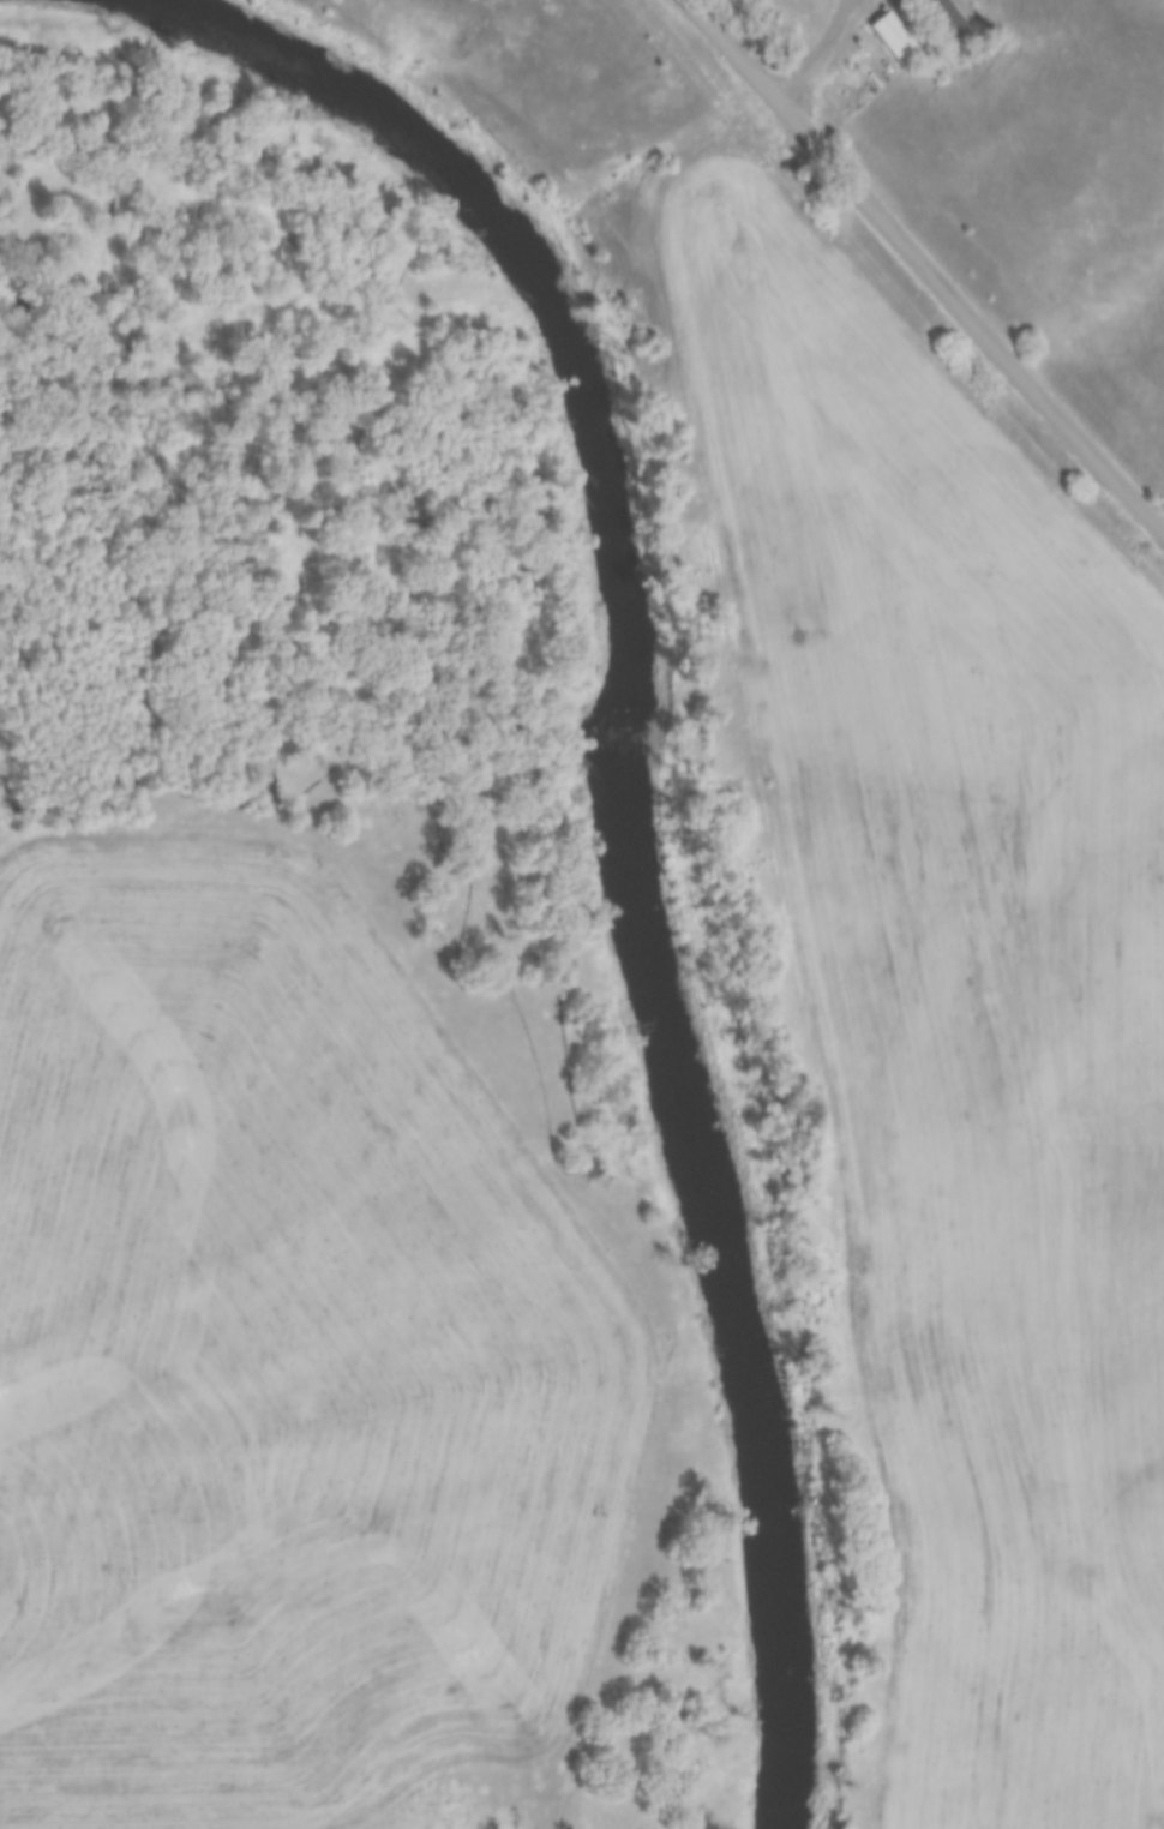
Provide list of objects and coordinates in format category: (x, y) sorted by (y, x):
building: (964, 22)
building: (916, 42)
road: (810, 50)
road: (924, 265)
river: (629, 803)
building: (1034, 1515)

